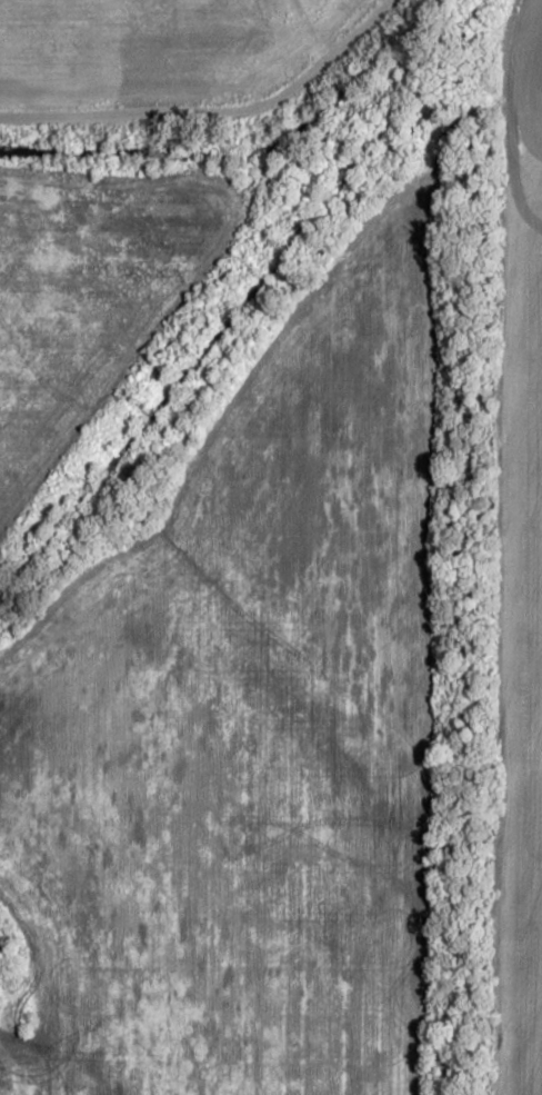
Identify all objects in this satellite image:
road: (531, 905)

